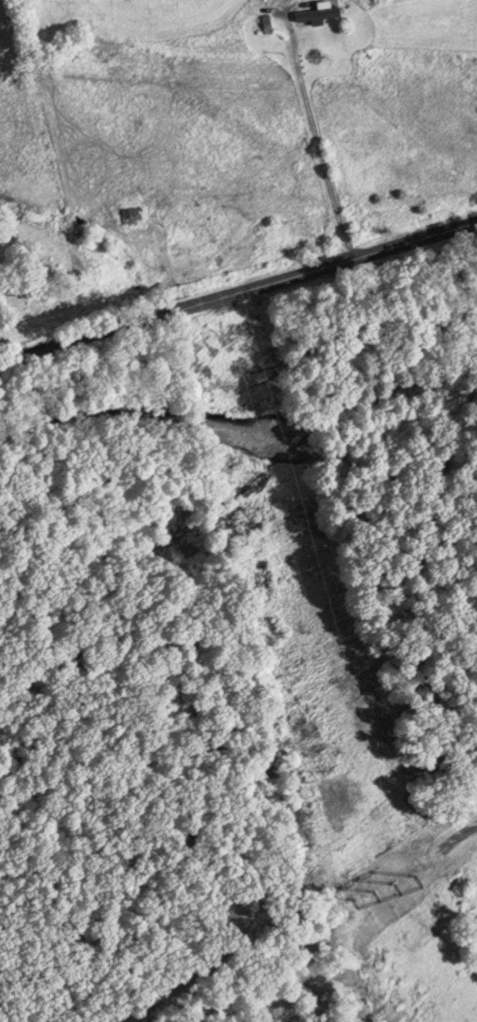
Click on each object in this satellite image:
building: (314, 13)
road: (239, 305)
power tower: (383, 888)

